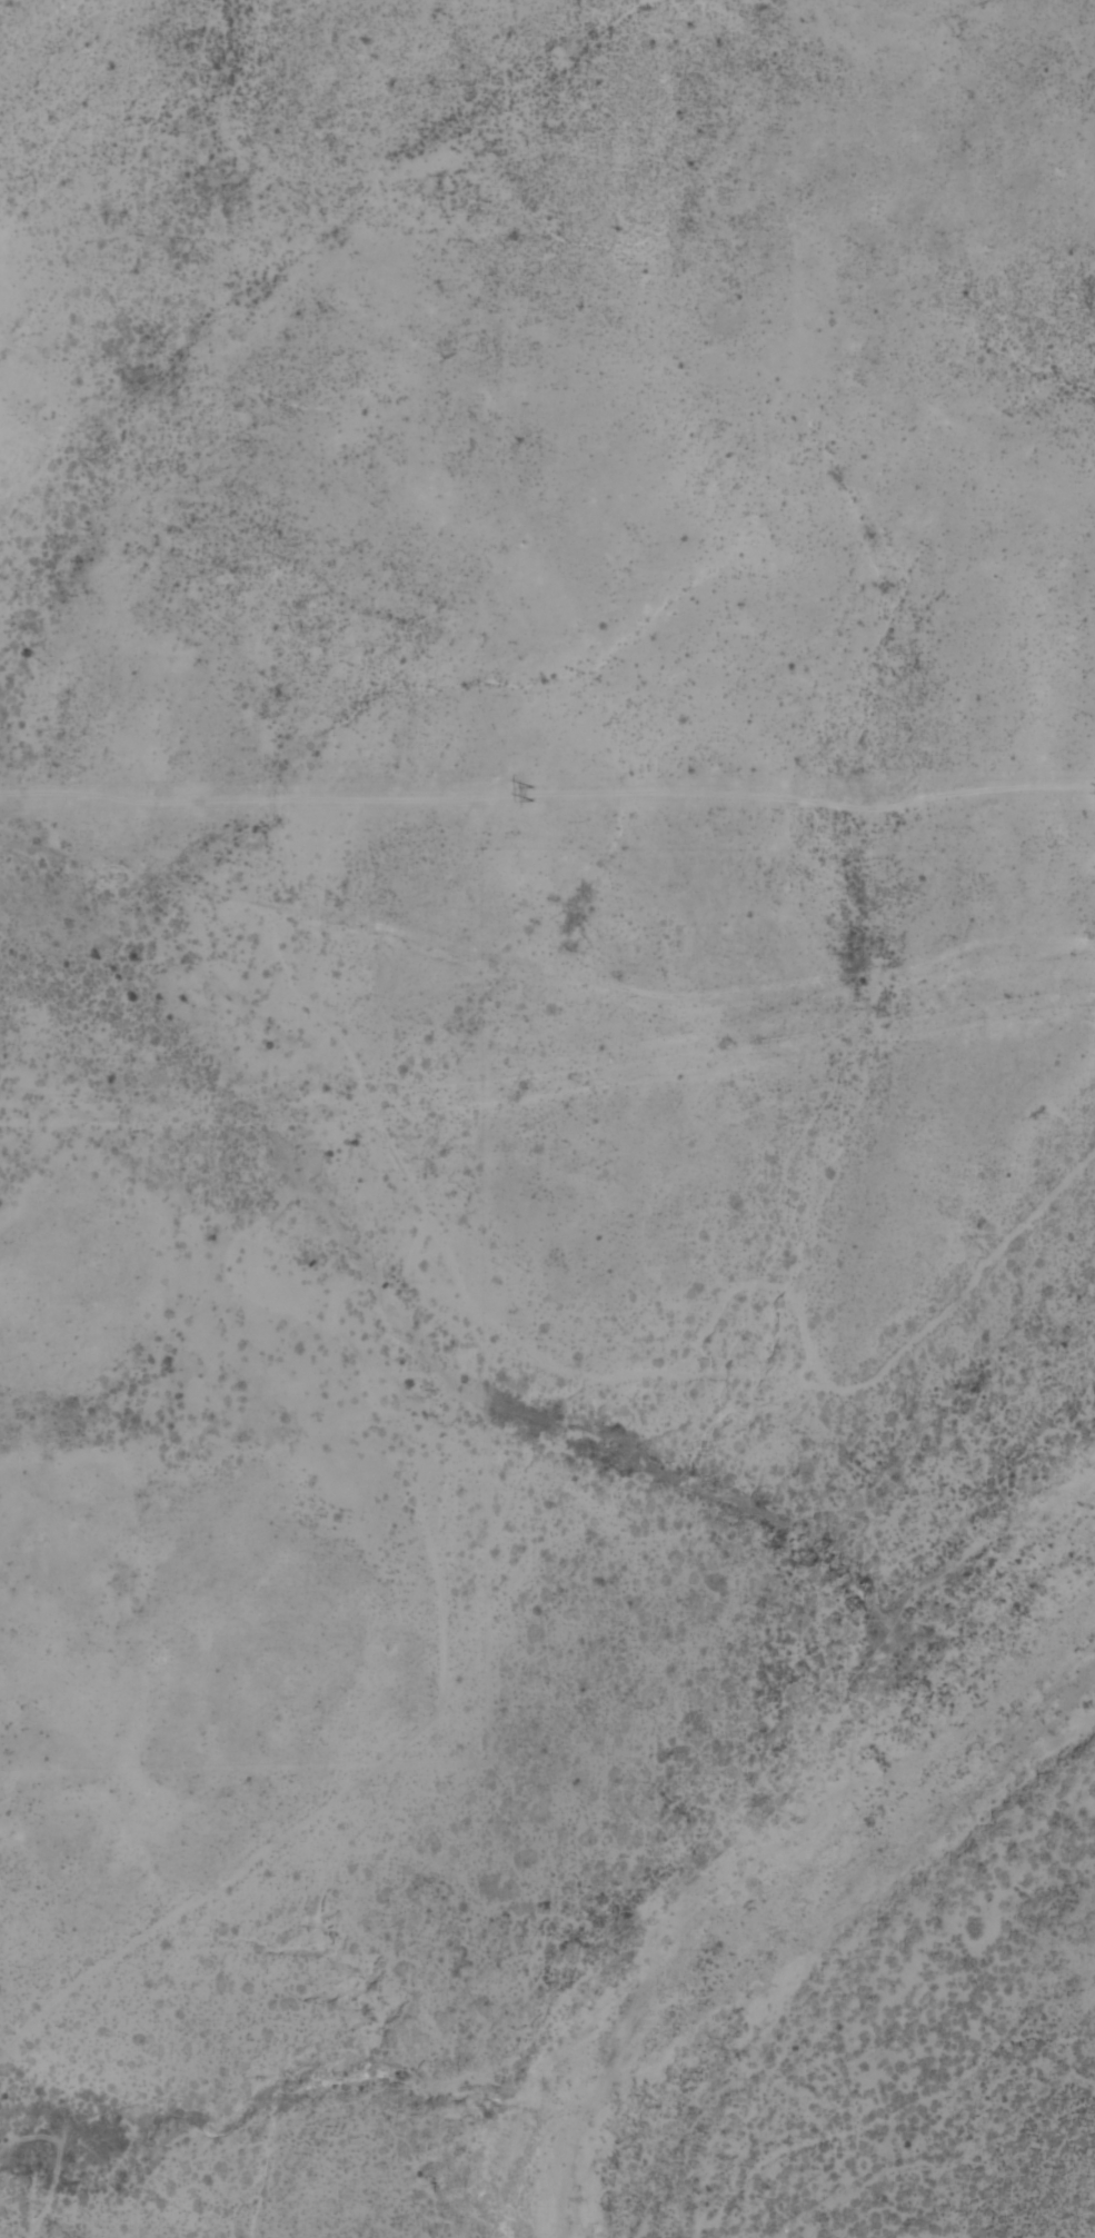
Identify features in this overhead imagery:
road: (26, 475)
power tower: (528, 793)
road: (248, 898)
road: (305, 1365)
river: (761, 1869)
river: (526, 2231)

